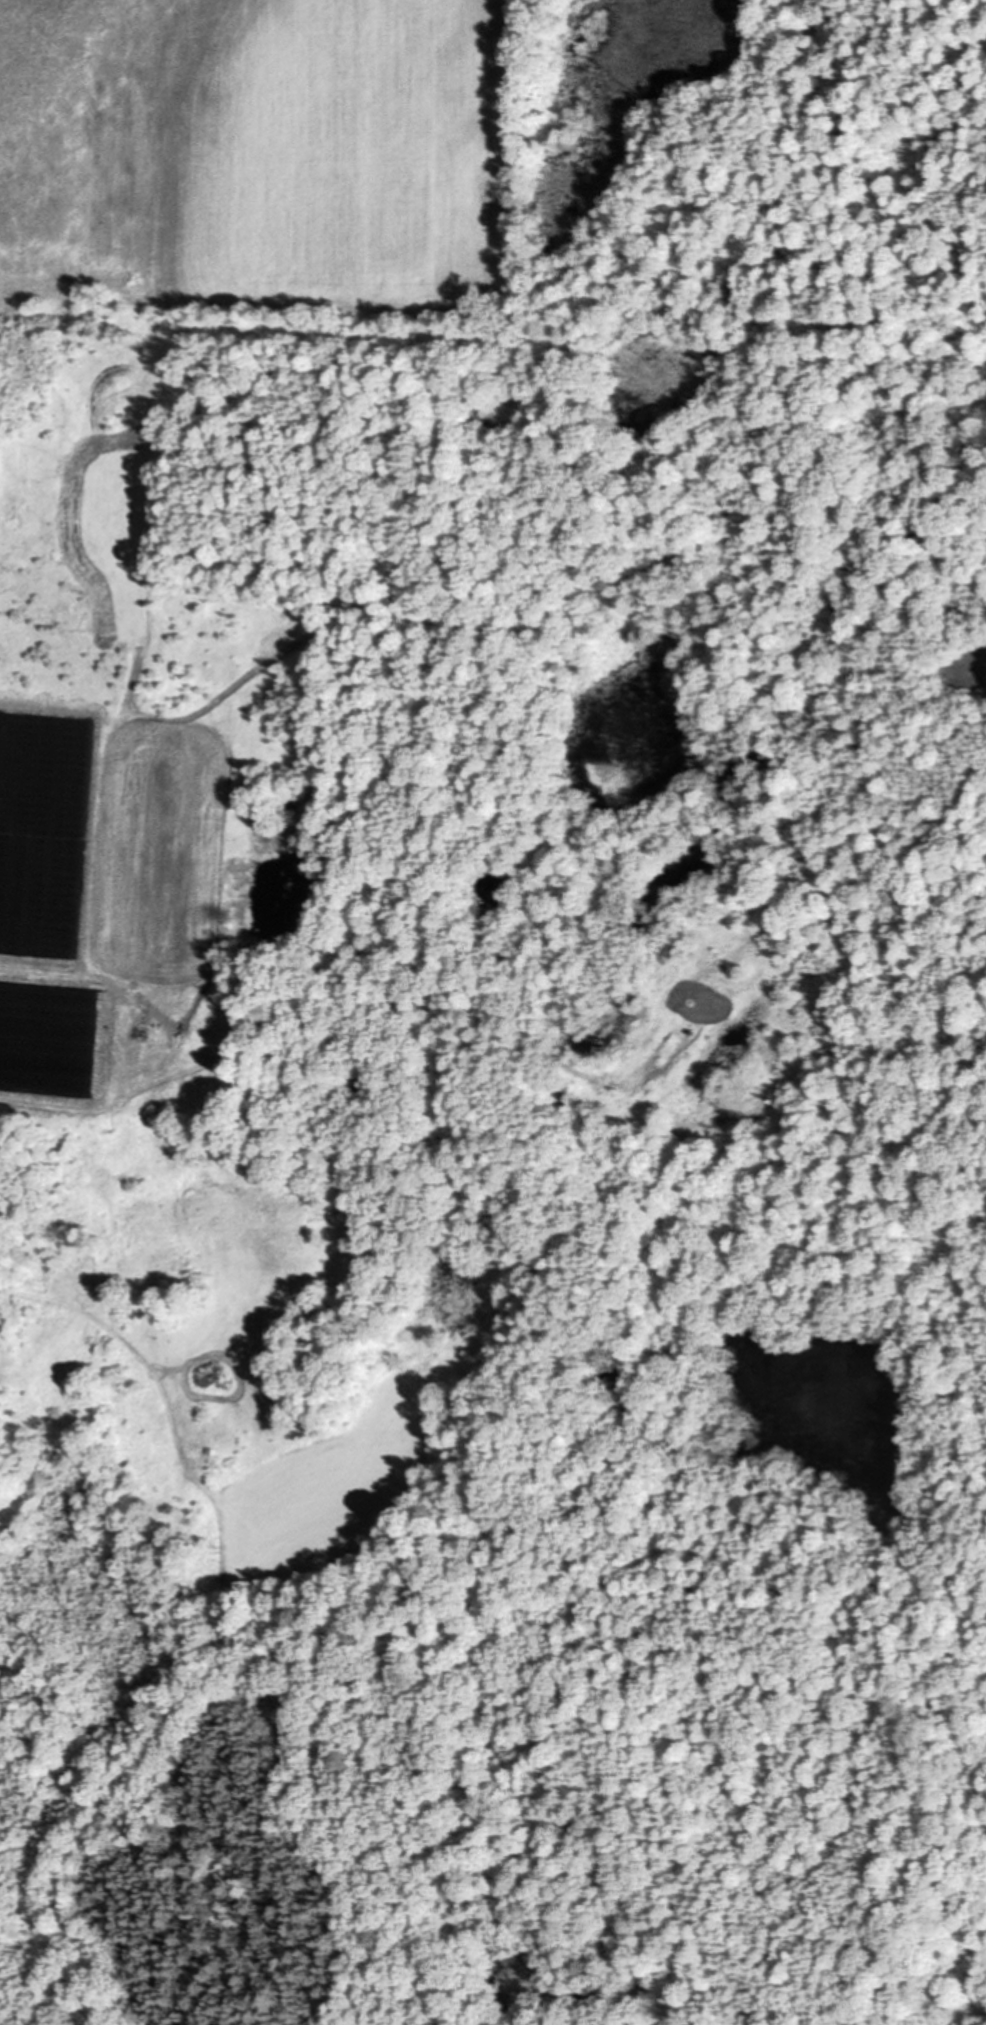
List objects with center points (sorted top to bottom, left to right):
crop: (81, 527)
crop: (6, 1319)
road: (967, 2013)

